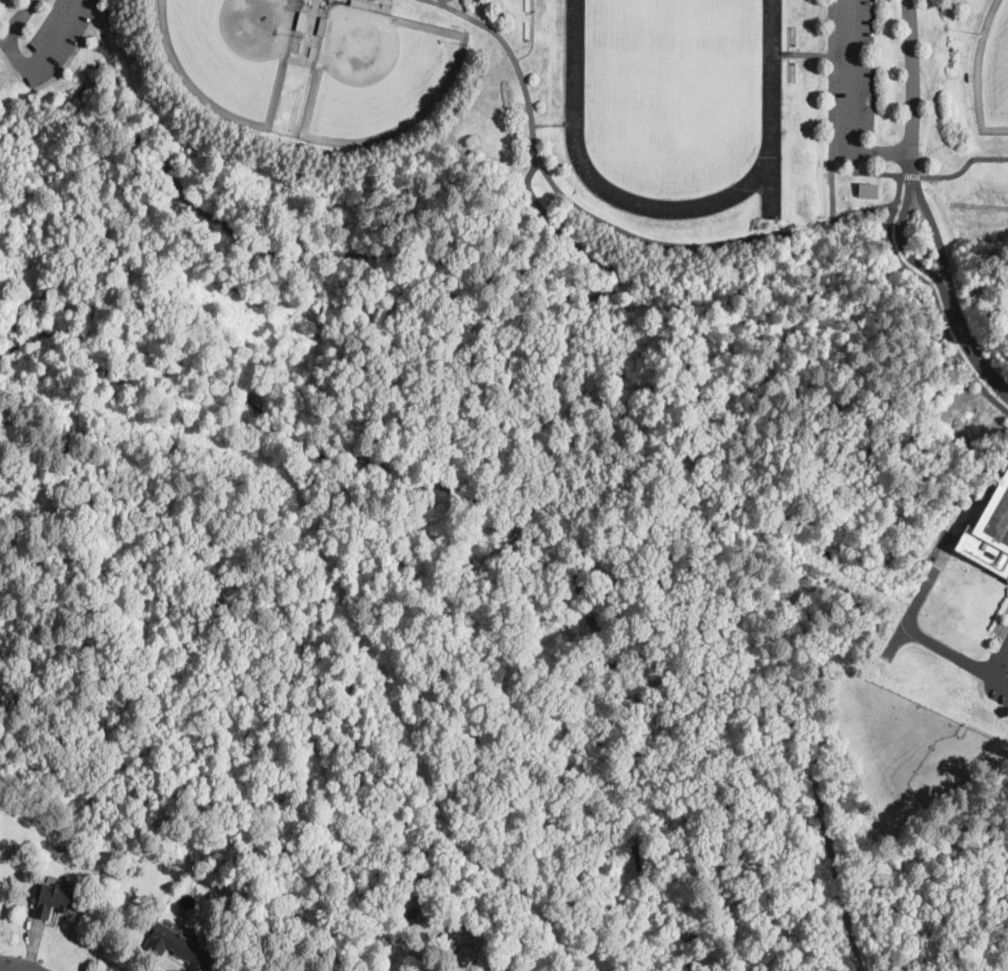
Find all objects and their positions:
building: (332, 2)
building: (360, 4)
building: (301, 21)
building: (322, 26)
road: (96, 44)
road: (74, 51)
park: (232, 51)
track: (773, 62)
park: (991, 69)
road: (30, 72)
park: (376, 73)
park: (675, 76)
road: (832, 112)
road: (955, 157)
road: (886, 158)
road: (913, 168)
road: (912, 176)
road: (615, 229)
road: (937, 234)
road: (904, 244)
road: (392, 254)
road: (95, 268)
road: (939, 310)
road: (971, 347)
park: (520, 465)
building: (990, 528)
road: (920, 634)
road: (1000, 663)
road: (1000, 681)
building: (53, 900)
building: (178, 946)
building: (296, 946)
road: (215, 964)
road: (17, 968)

